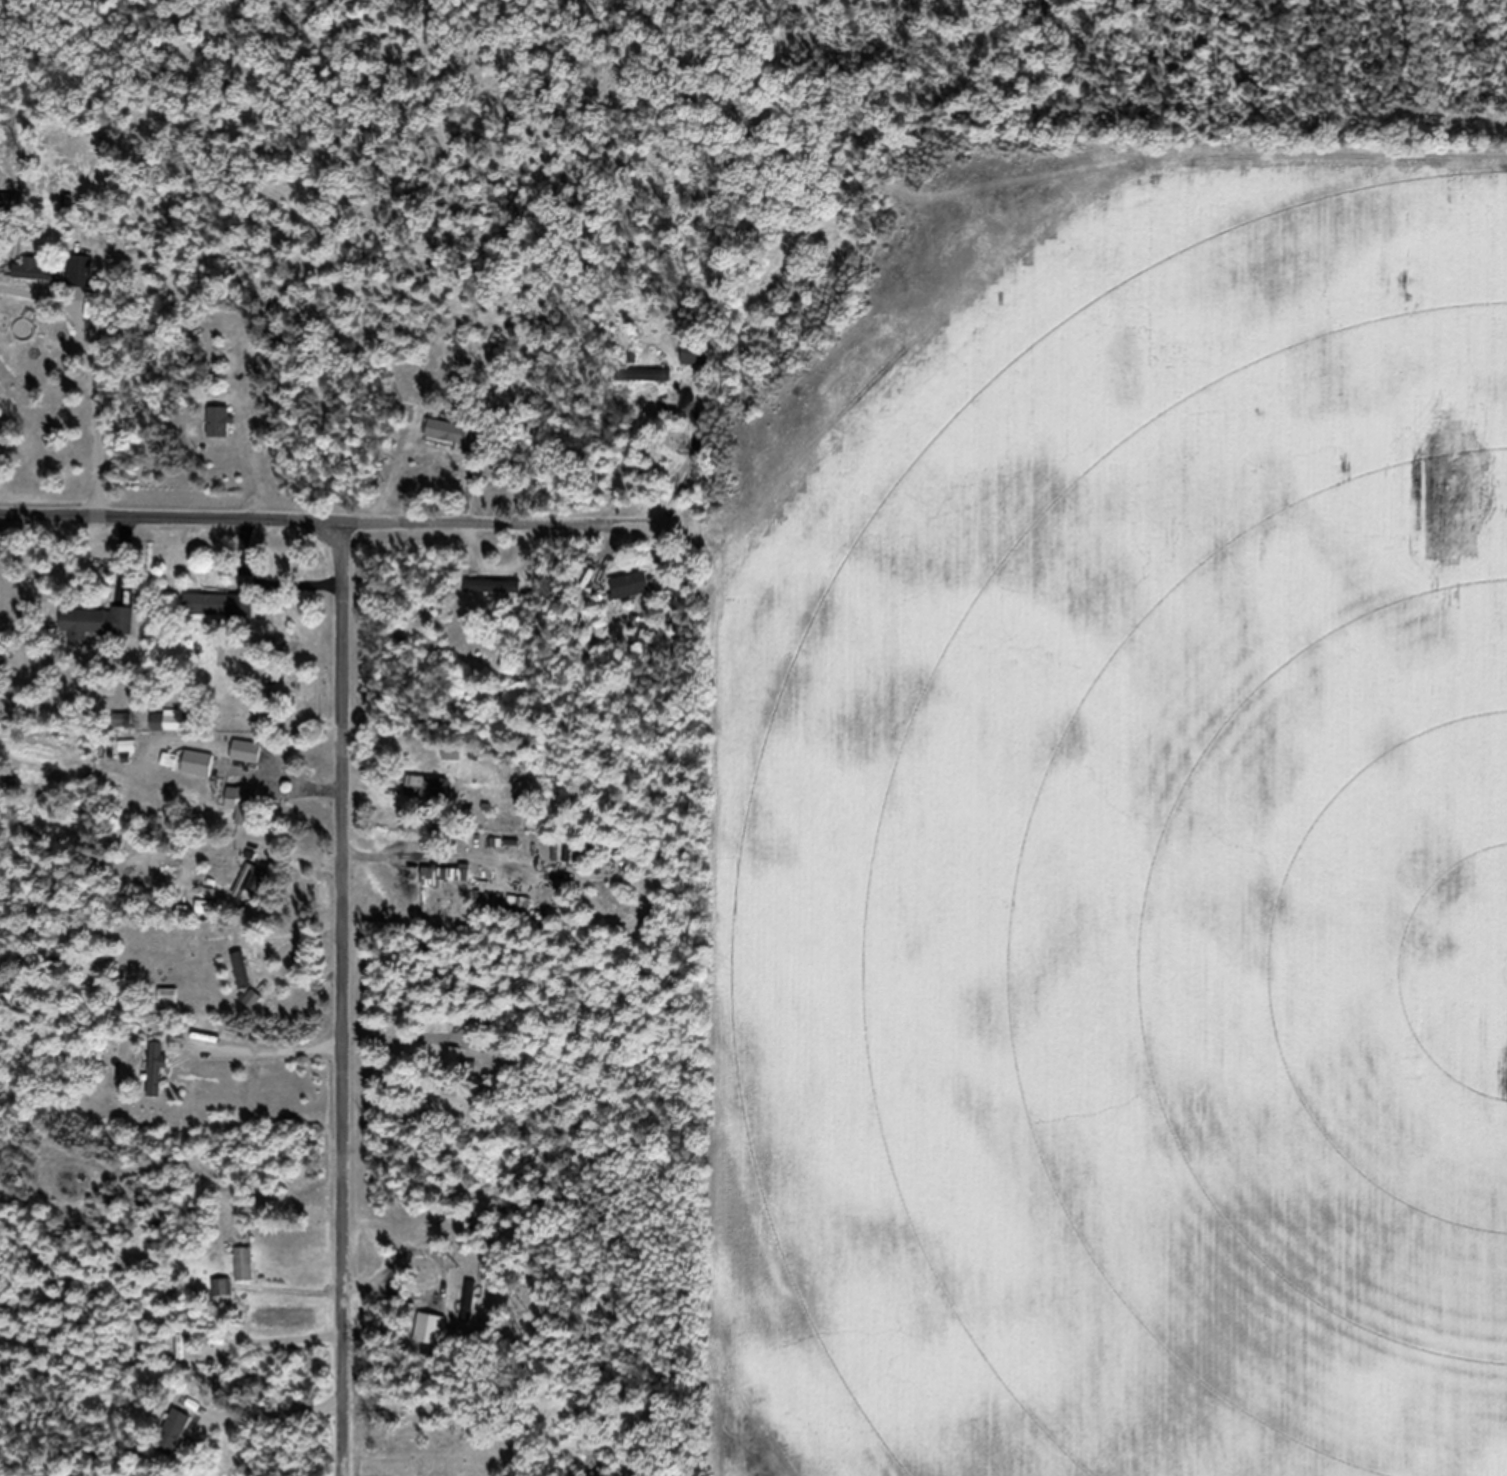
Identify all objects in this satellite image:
building: (10, 212)
building: (31, 281)
building: (80, 282)
building: (696, 365)
building: (643, 386)
building: (219, 432)
building: (446, 441)
road: (336, 532)
building: (630, 595)
building: (492, 596)
building: (219, 617)
building: (97, 632)
building: (168, 731)
building: (246, 762)
building: (198, 774)
building: (426, 798)
building: (242, 815)
building: (443, 886)
building: (242, 897)
building: (203, 918)
building: (238, 969)
road: (343, 1004)
building: (251, 1011)
road: (273, 1048)
building: (456, 1069)
building: (154, 1080)
building: (452, 1099)
building: (244, 1274)
building: (219, 1298)
road: (277, 1426)
building: (173, 1443)

